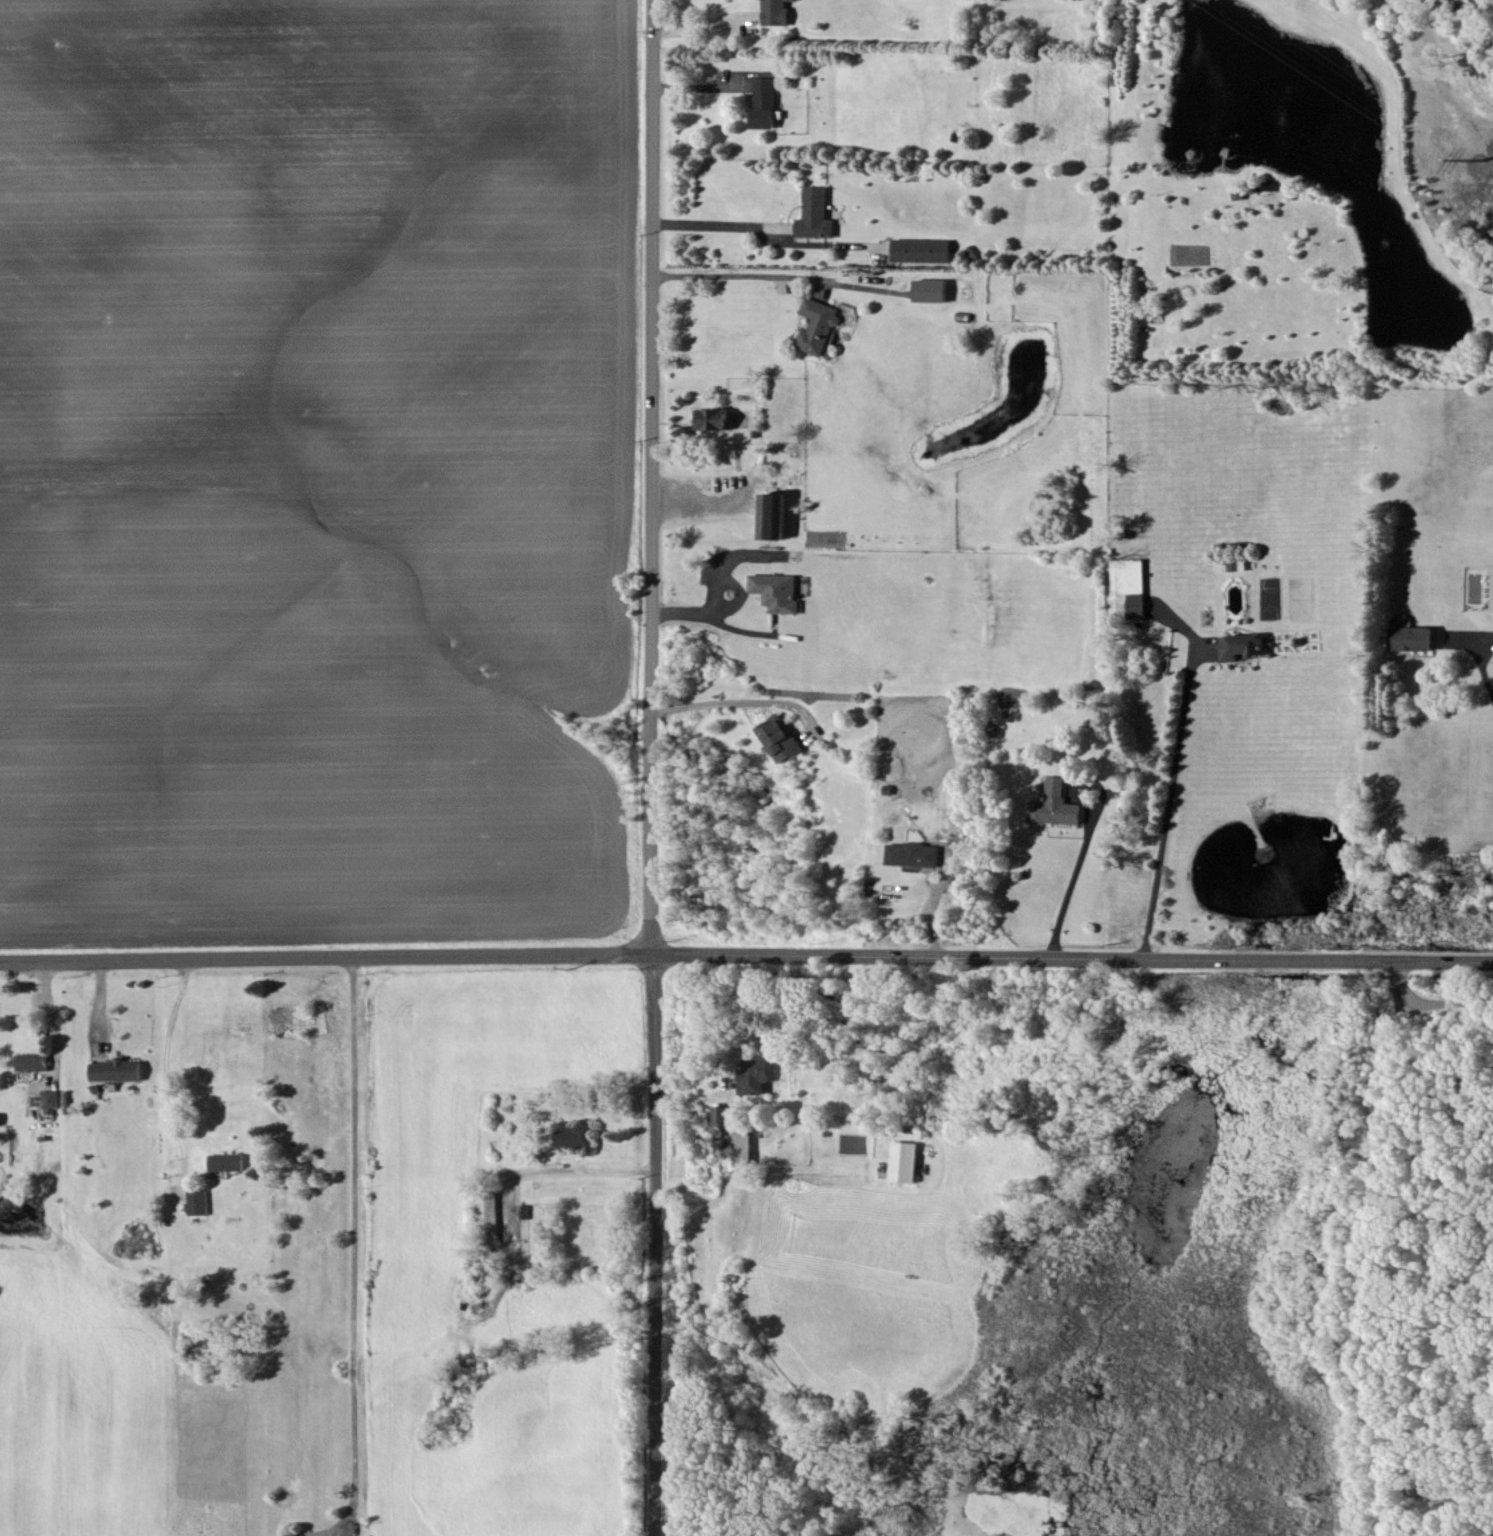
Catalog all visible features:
building: (776, 12)
road: (704, 26)
road: (703, 86)
building: (765, 102)
power tower: (1453, 145)
building: (817, 214)
road: (715, 222)
building: (923, 250)
road: (780, 275)
building: (933, 290)
building: (818, 325)
building: (712, 418)
building: (773, 515)
building: (1128, 588)
building: (779, 591)
road: (728, 609)
building: (1412, 638)
building: (1244, 645)
road: (1482, 658)
road: (734, 702)
building: (781, 738)
road: (649, 767)
road: (1172, 802)
building: (1056, 805)
building: (913, 854)
road: (1074, 877)
road: (746, 954)
road: (1432, 1004)
road: (170, 1053)
building: (33, 1061)
building: (117, 1069)
building: (754, 1075)
building: (50, 1098)
building: (720, 1115)
building: (575, 1136)
building: (227, 1161)
building: (904, 1161)
road: (580, 1170)
building: (198, 1202)
building: (489, 1212)
road: (355, 1260)

